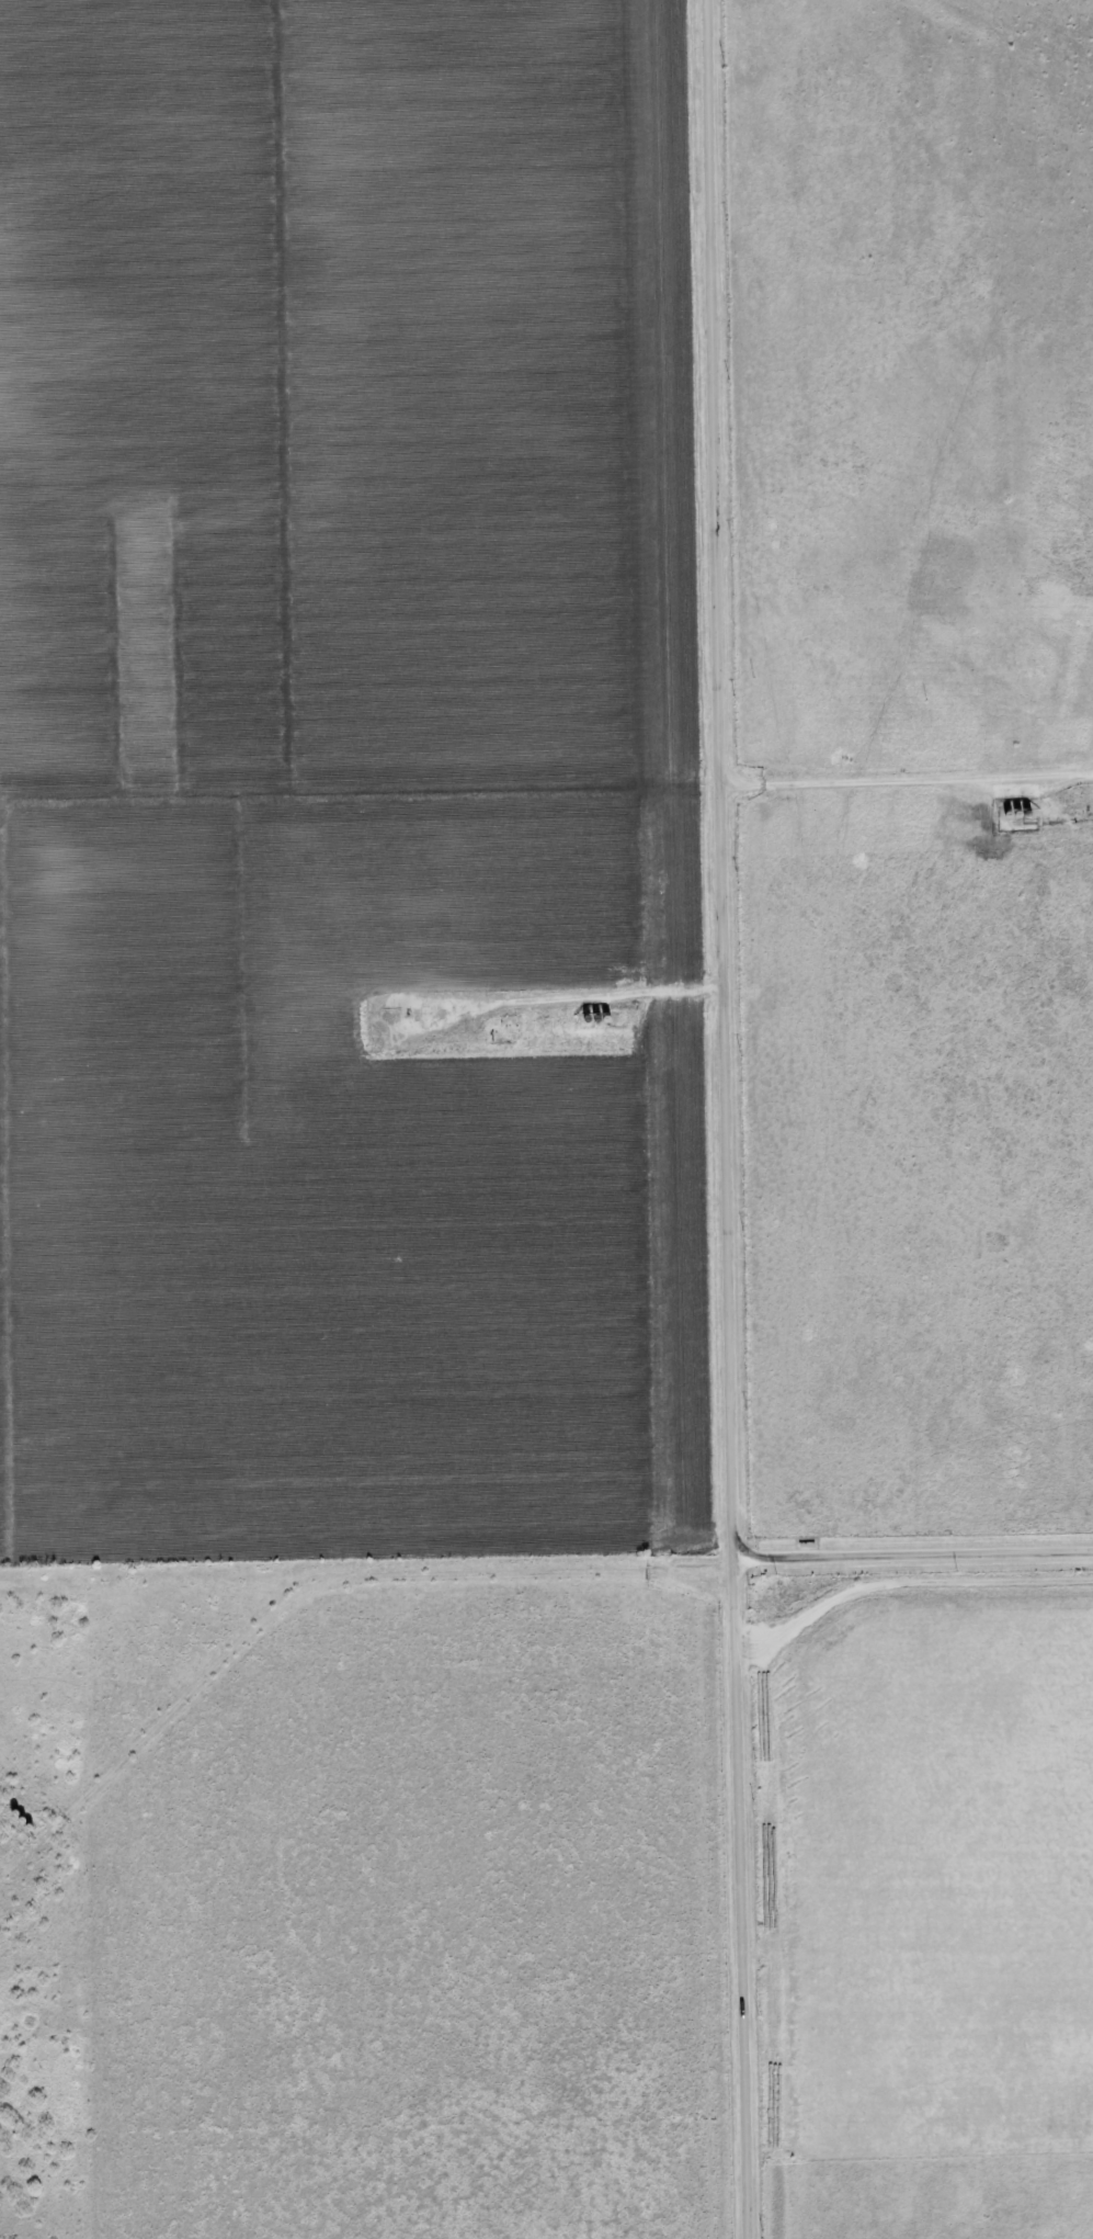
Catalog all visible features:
road: (730, 1119)

